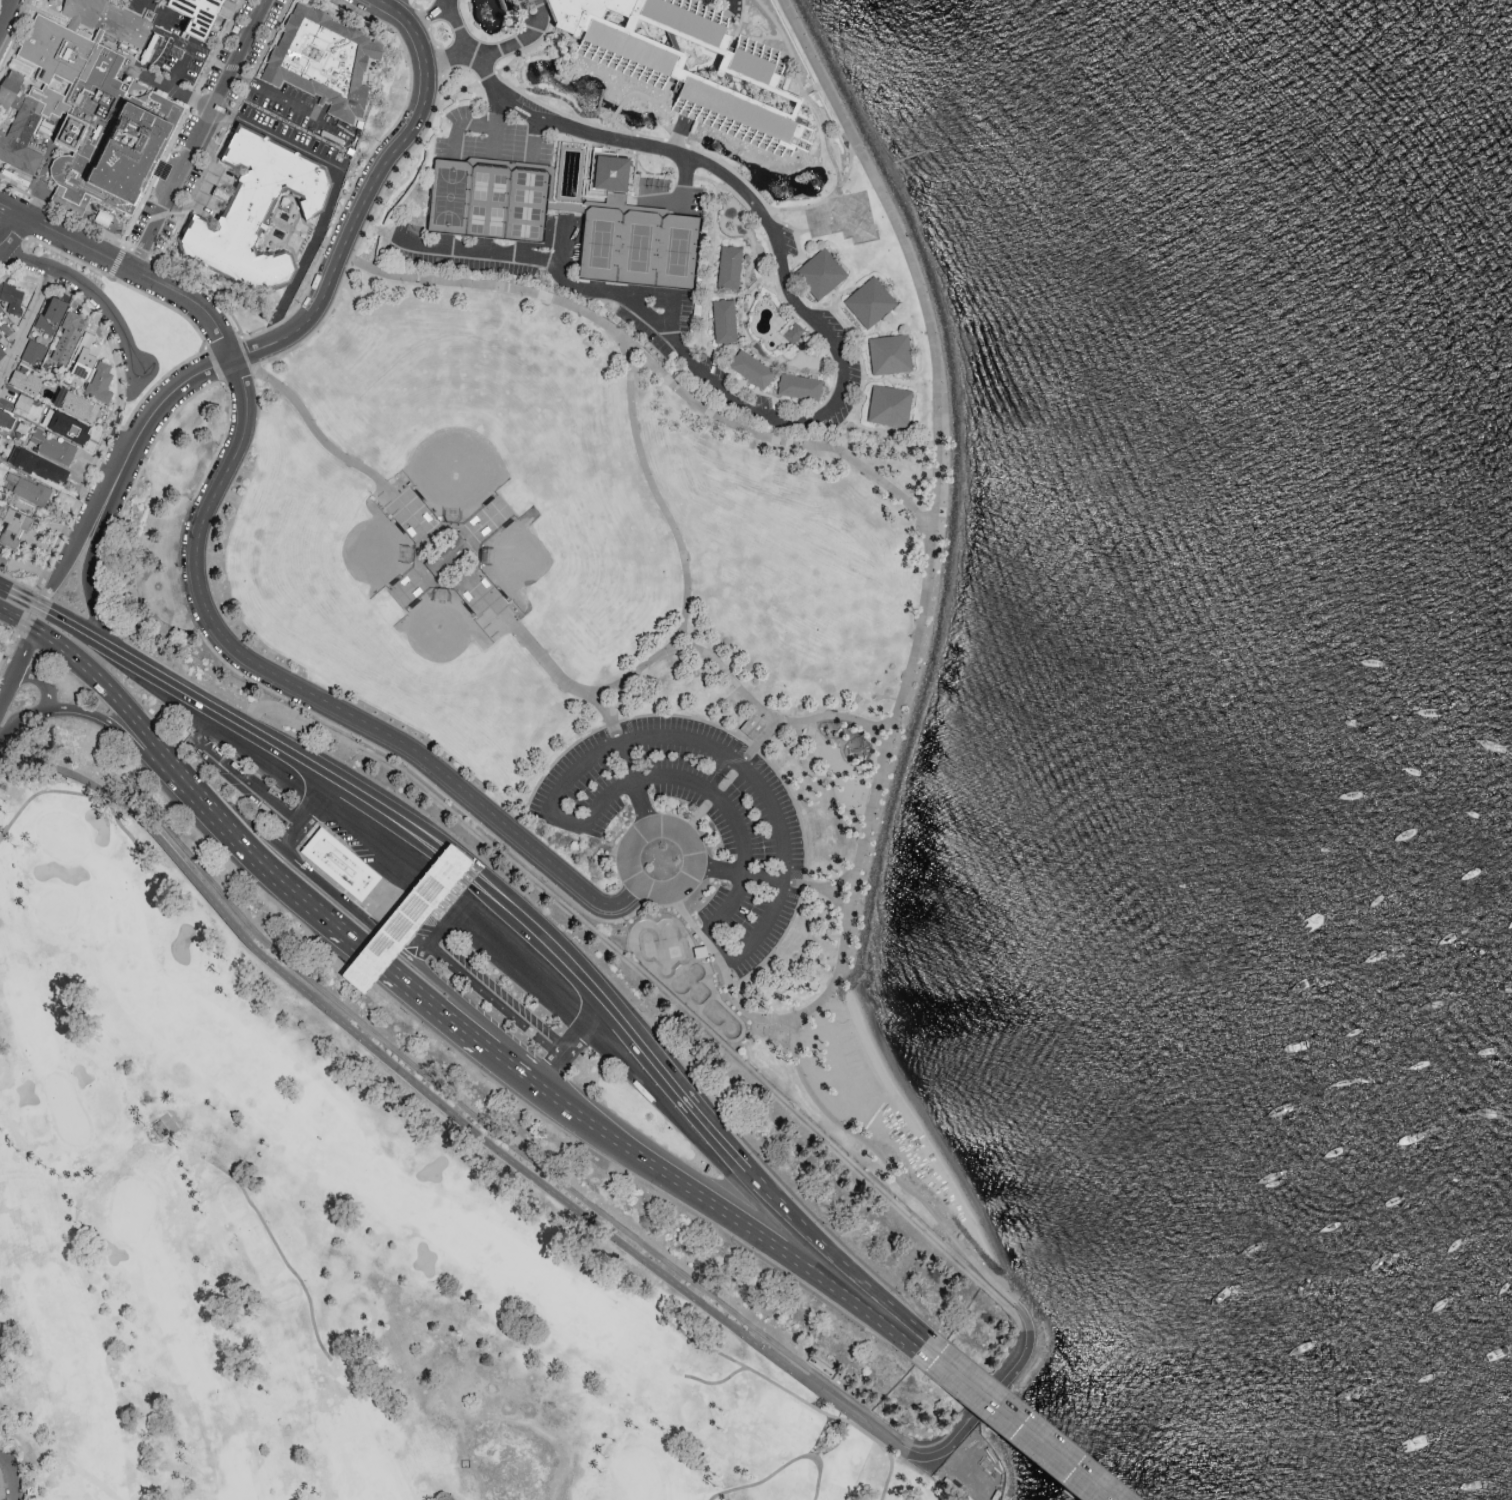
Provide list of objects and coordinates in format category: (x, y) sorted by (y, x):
road: (741, 1)
road: (384, 2)
road: (136, 4)
building: (531, 5)
road: (532, 5)
road: (388, 6)
road: (740, 7)
road: (5, 10)
building: (201, 15)
road: (427, 16)
building: (107, 20)
road: (738, 30)
road: (485, 54)
road: (447, 61)
building: (323, 63)
road: (180, 65)
road: (145, 75)
building: (757, 81)
road: (288, 103)
road: (490, 106)
building: (96, 117)
road: (476, 124)
building: (46, 127)
building: (18, 128)
road: (825, 134)
road: (198, 135)
road: (532, 139)
road: (276, 140)
road: (850, 166)
building: (608, 174)
road: (680, 183)
park: (492, 202)
road: (366, 204)
road: (74, 211)
building: (253, 212)
road: (10, 229)
road: (65, 237)
park: (567, 245)
park: (639, 249)
building: (729, 270)
building: (820, 275)
road: (88, 293)
building: (12, 302)
road: (193, 302)
building: (869, 303)
building: (0, 308)
building: (0, 311)
road: (671, 314)
road: (806, 314)
building: (51, 317)
building: (724, 322)
road: (27, 327)
building: (6, 328)
building: (1, 337)
building: (67, 338)
building: (33, 353)
building: (2, 354)
building: (85, 356)
building: (890, 356)
road: (649, 362)
building: (751, 370)
building: (25, 383)
building: (100, 384)
building: (799, 389)
building: (23, 404)
building: (76, 406)
building: (889, 407)
park: (461, 415)
road: (151, 419)
building: (6, 421)
building: (66, 425)
building: (22, 431)
building: (6, 446)
road: (330, 446)
building: (54, 448)
building: (43, 469)
building: (32, 493)
building: (0, 505)
building: (1, 510)
building: (14, 529)
road: (470, 535)
park: (330, 549)
park: (606, 554)
road: (69, 558)
park: (574, 566)
road: (87, 576)
road: (19, 596)
road: (17, 621)
road: (71, 623)
park: (440, 661)
road: (652, 661)
road: (17, 667)
road: (40, 680)
road: (175, 683)
road: (904, 690)
road: (316, 695)
road: (111, 696)
road: (613, 718)
road: (774, 719)
road: (22, 720)
building: (752, 721)
road: (118, 729)
road: (743, 761)
road: (348, 782)
road: (639, 785)
road: (716, 792)
road: (85, 795)
road: (309, 811)
road: (568, 818)
road: (349, 825)
parking lot: (766, 845)
road: (698, 861)
road: (267, 862)
building: (340, 866)
road: (743, 871)
road: (827, 886)
road: (329, 889)
road: (841, 906)
building: (407, 917)
toll booth: (406, 919)
road: (724, 943)
road: (430, 944)
road: (373, 957)
park: (679, 971)
road: (726, 975)
road: (430, 1001)
road: (495, 1005)
road: (697, 1025)
road: (509, 1042)
road: (575, 1047)
road: (695, 1104)
road: (527, 1170)
road: (698, 1190)
park: (312, 1248)
road: (280, 1253)
road: (718, 1383)
road: (812, 1407)
road: (1022, 1418)
road: (1000, 1428)
road: (781, 1468)
building: (1, 1485)

